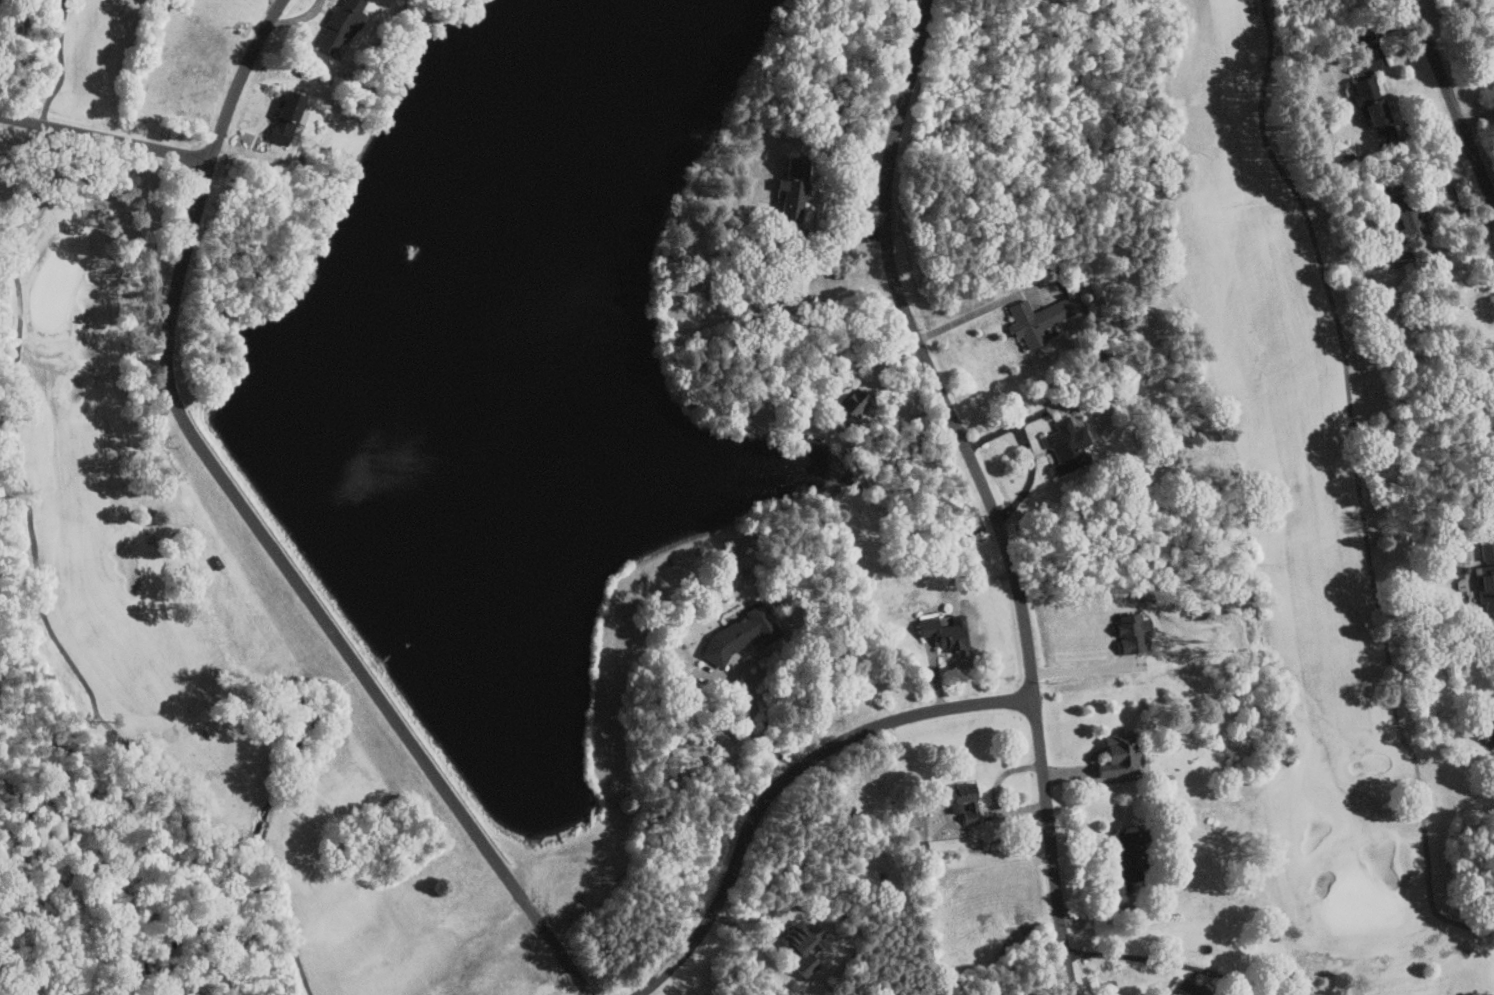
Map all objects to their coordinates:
building: (337, 23)
building: (1368, 100)
road: (1452, 101)
building: (283, 117)
road: (104, 138)
building: (788, 187)
building: (1399, 221)
road: (963, 318)
building: (1034, 320)
building: (848, 402)
building: (1065, 445)
road: (1379, 480)
road: (983, 490)
park: (747, 497)
road: (255, 527)
building: (1486, 550)
building: (1485, 585)
building: (1128, 633)
building: (945, 634)
building: (737, 635)
road: (1082, 668)
building: (1486, 728)
road: (756, 732)
building: (1114, 754)
road: (785, 778)
building: (963, 808)
building: (1120, 850)
road: (751, 942)
road: (1156, 960)
building: (1183, 988)

